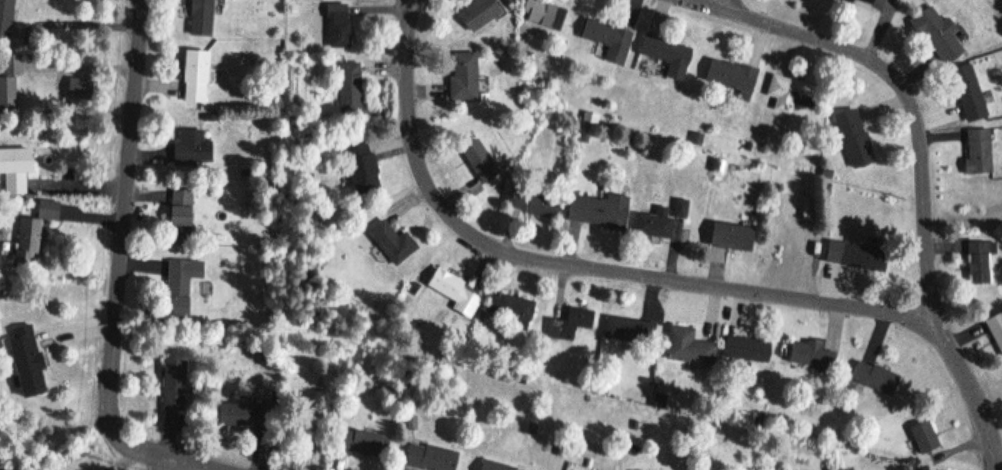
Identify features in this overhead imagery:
road: (417, 2)
building: (863, 2)
building: (476, 13)
building: (542, 13)
building: (4, 15)
building: (198, 17)
building: (336, 25)
building: (937, 36)
building: (606, 38)
building: (665, 54)
building: (192, 75)
building: (461, 75)
building: (728, 76)
building: (8, 80)
building: (348, 90)
building: (787, 92)
building: (967, 93)
building: (851, 137)
building: (190, 149)
building: (976, 151)
building: (477, 159)
building: (360, 165)
building: (13, 170)
road: (928, 183)
building: (532, 203)
building: (178, 210)
building: (597, 210)
building: (659, 220)
building: (31, 232)
building: (728, 237)
building: (389, 240)
building: (861, 256)
road: (588, 261)
building: (978, 261)
road: (121, 266)
building: (178, 285)
building: (454, 293)
building: (508, 309)
building: (569, 323)
building: (626, 329)
building: (995, 329)
building: (687, 347)
building: (745, 349)
building: (809, 356)
building: (25, 359)
building: (872, 377)
building: (172, 384)
building: (231, 414)
building: (921, 435)
building: (363, 443)
building: (427, 457)
building: (491, 466)

